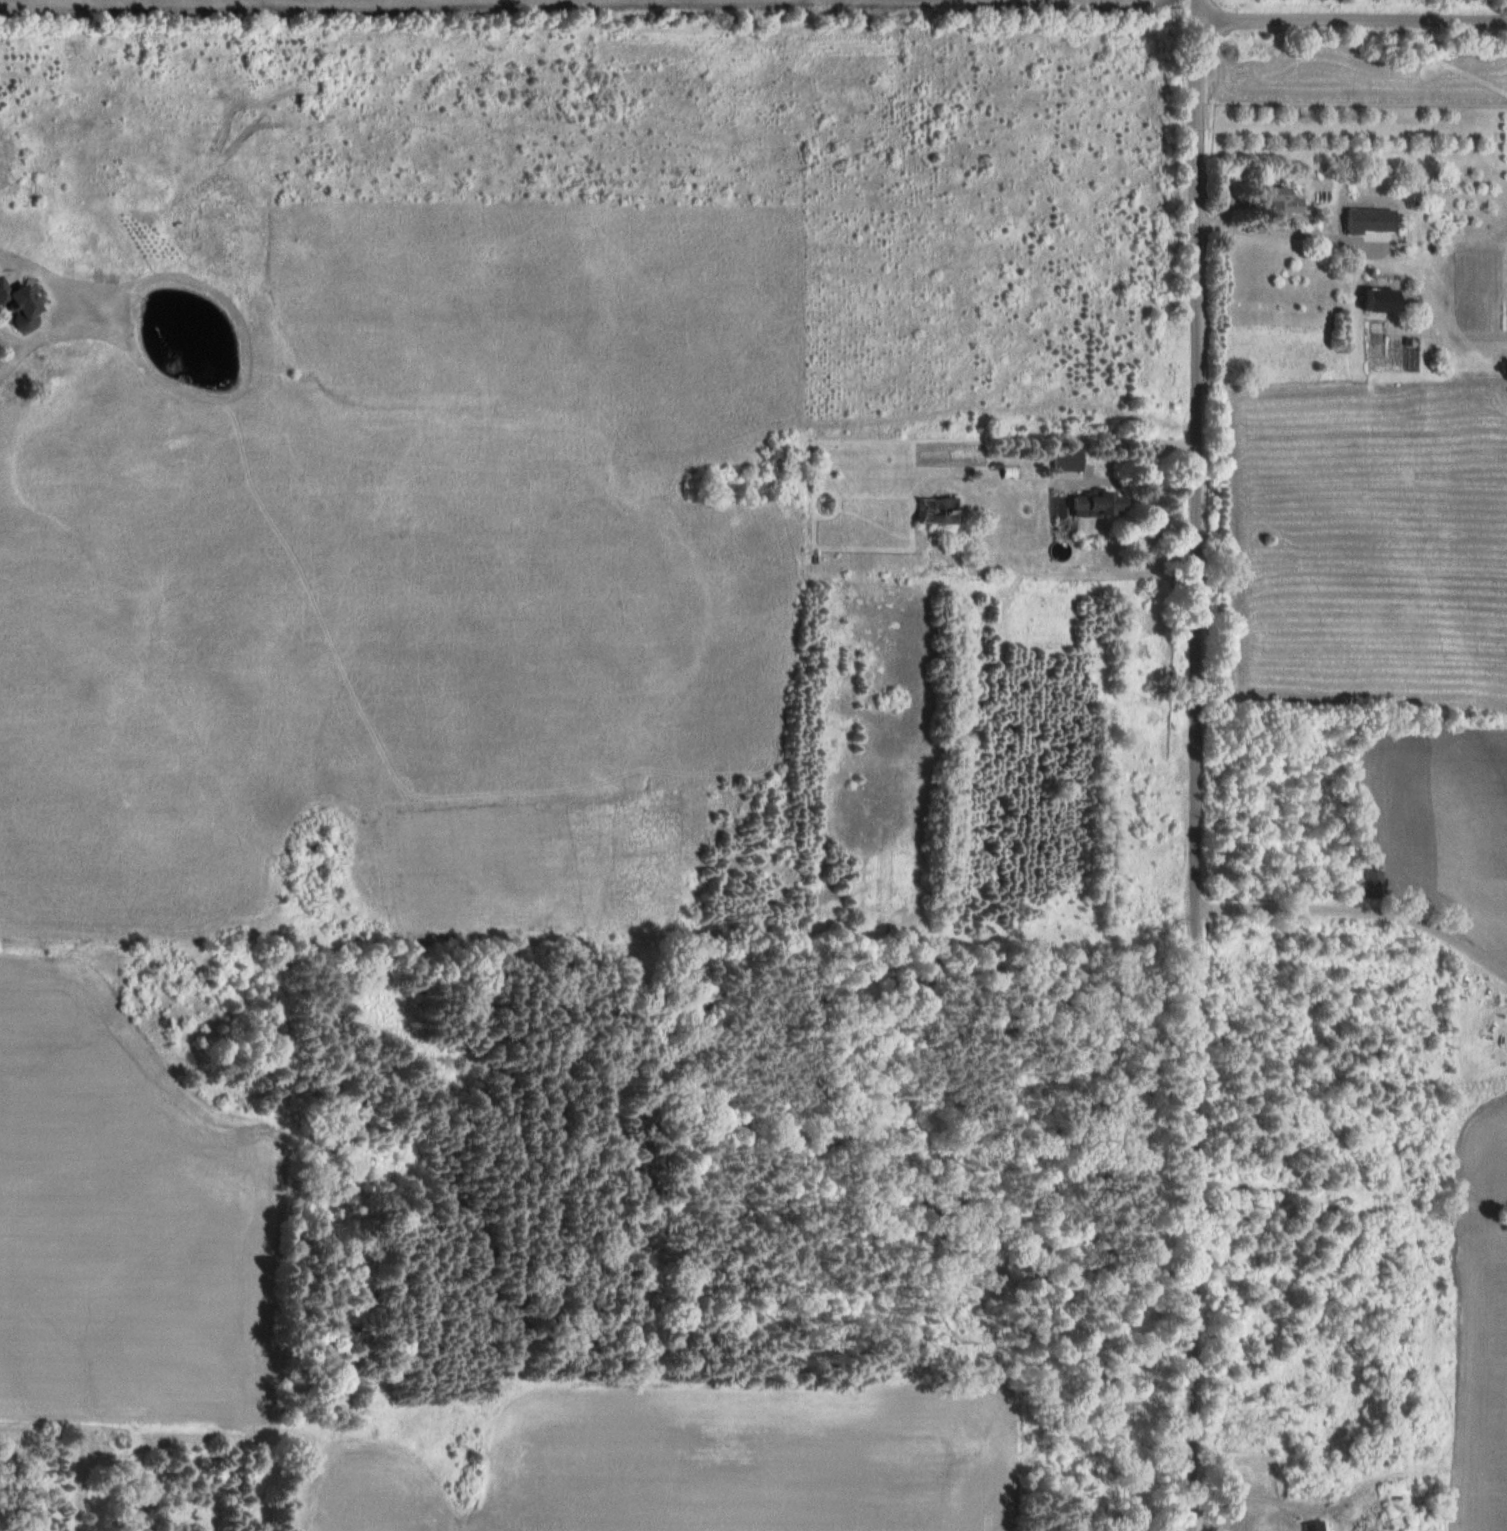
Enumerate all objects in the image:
road: (1353, 20)
building: (1284, 204)
building: (1367, 222)
road: (1284, 234)
building: (1382, 301)
building: (20, 307)
building: (1067, 459)
road: (1142, 480)
building: (1098, 504)
building: (936, 511)
road: (1196, 765)
building: (1372, 884)
road: (1361, 900)
building: (1309, 1527)

